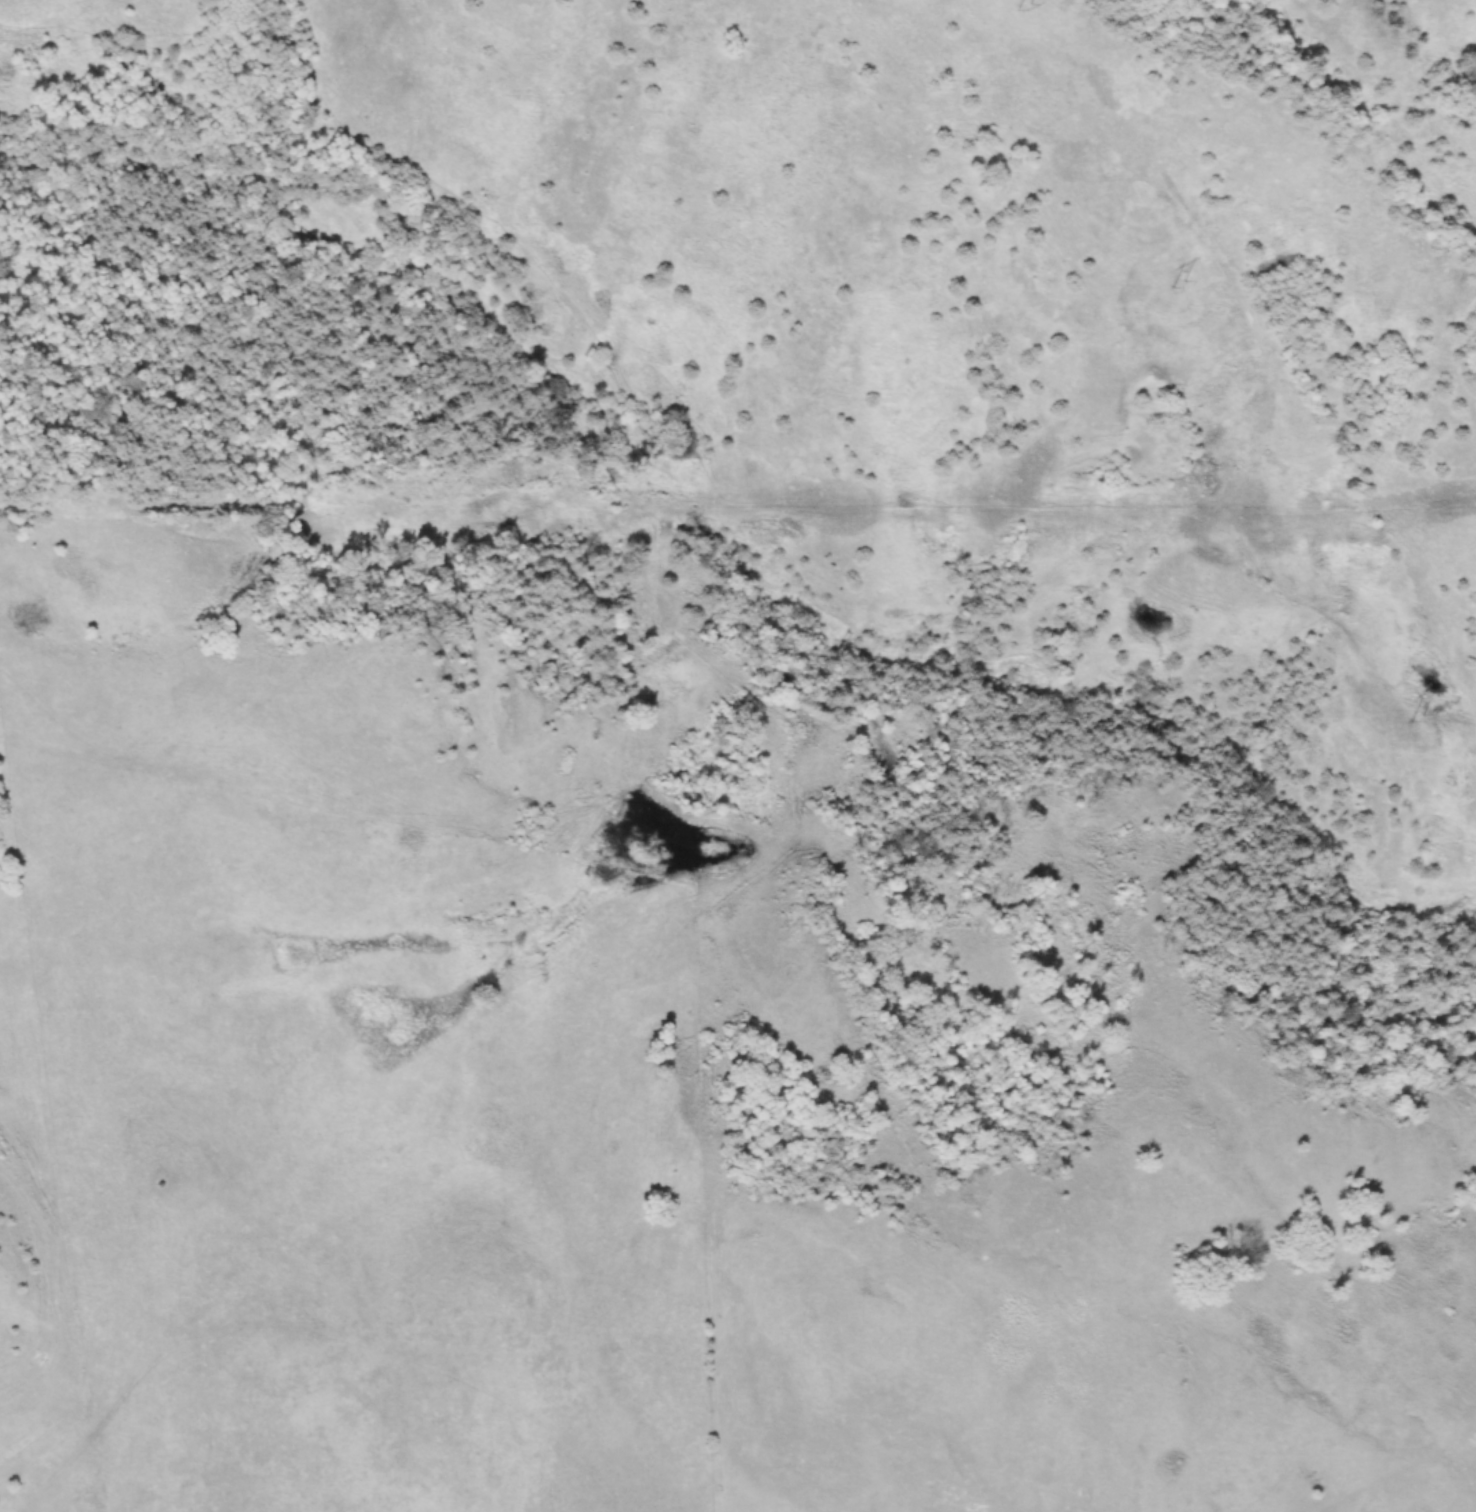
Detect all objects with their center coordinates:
power tower: (1020, 3)
power tower: (1179, 287)
power tower: (1416, 721)

